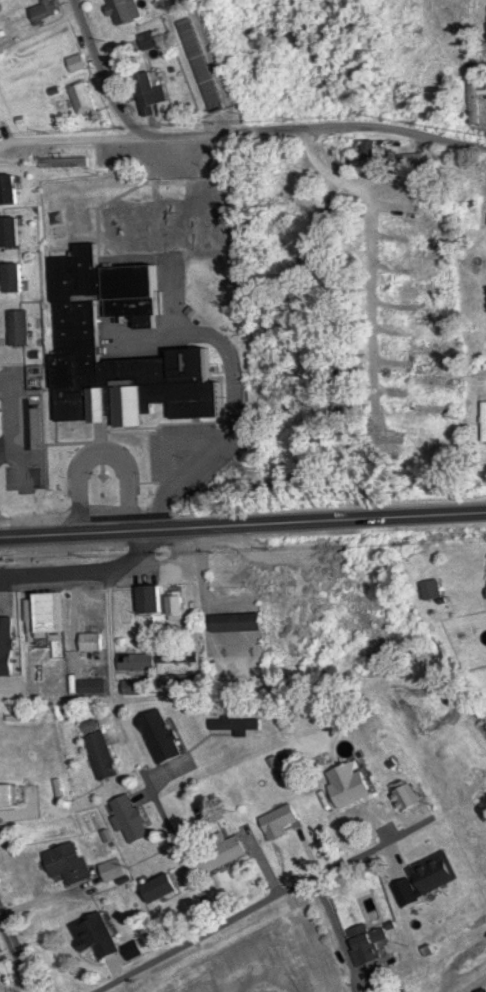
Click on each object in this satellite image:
building: (125, 10)
building: (46, 11)
building: (297, 41)
building: (78, 62)
building: (202, 64)
road: (110, 68)
building: (151, 92)
building: (83, 98)
building: (476, 101)
road: (243, 131)
building: (369, 148)
building: (394, 153)
building: (192, 157)
building: (11, 189)
building: (293, 191)
building: (409, 195)
building: (415, 220)
building: (14, 232)
building: (427, 254)
building: (308, 258)
road: (375, 261)
building: (15, 278)
building: (427, 319)
building: (20, 327)
building: (97, 339)
building: (435, 351)
building: (433, 379)
building: (428, 408)
building: (484, 421)
building: (431, 443)
building: (481, 457)
road: (243, 526)
road: (80, 572)
building: (153, 599)
building: (180, 608)
building: (35, 620)
building: (239, 622)
building: (177, 655)
building: (138, 662)
building: (11, 663)
building: (140, 687)
building: (21, 713)
building: (238, 725)
building: (162, 736)
building: (104, 756)
building: (350, 785)
building: (8, 795)
building: (406, 798)
building: (132, 819)
building: (281, 821)
building: (222, 853)
road: (185, 856)
building: (68, 862)
building: (113, 869)
building: (435, 874)
building: (163, 888)
road: (253, 909)
road: (333, 921)
building: (97, 935)
building: (368, 944)
road: (16, 958)

